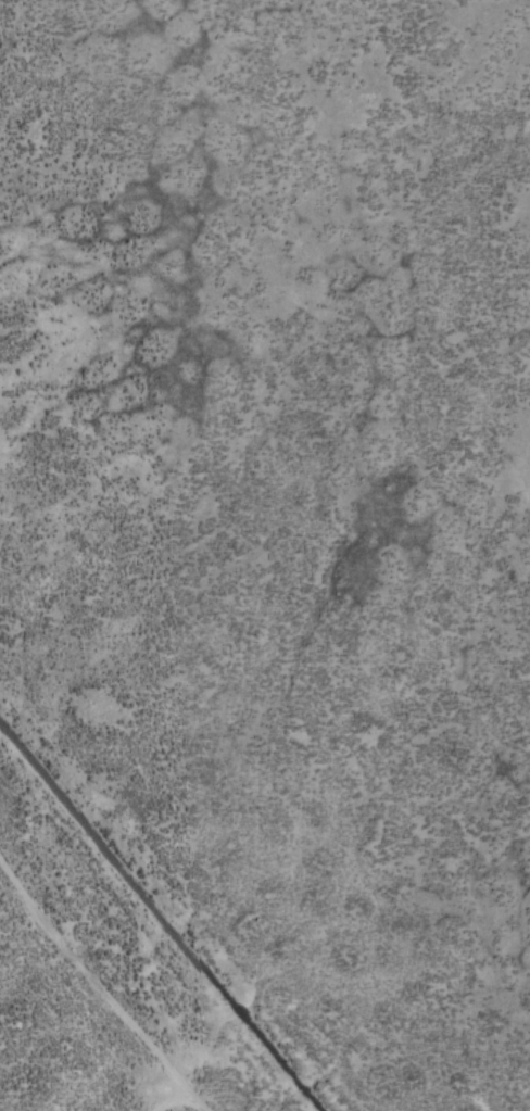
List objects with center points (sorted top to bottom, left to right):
road: (100, 985)
road: (173, 1099)

